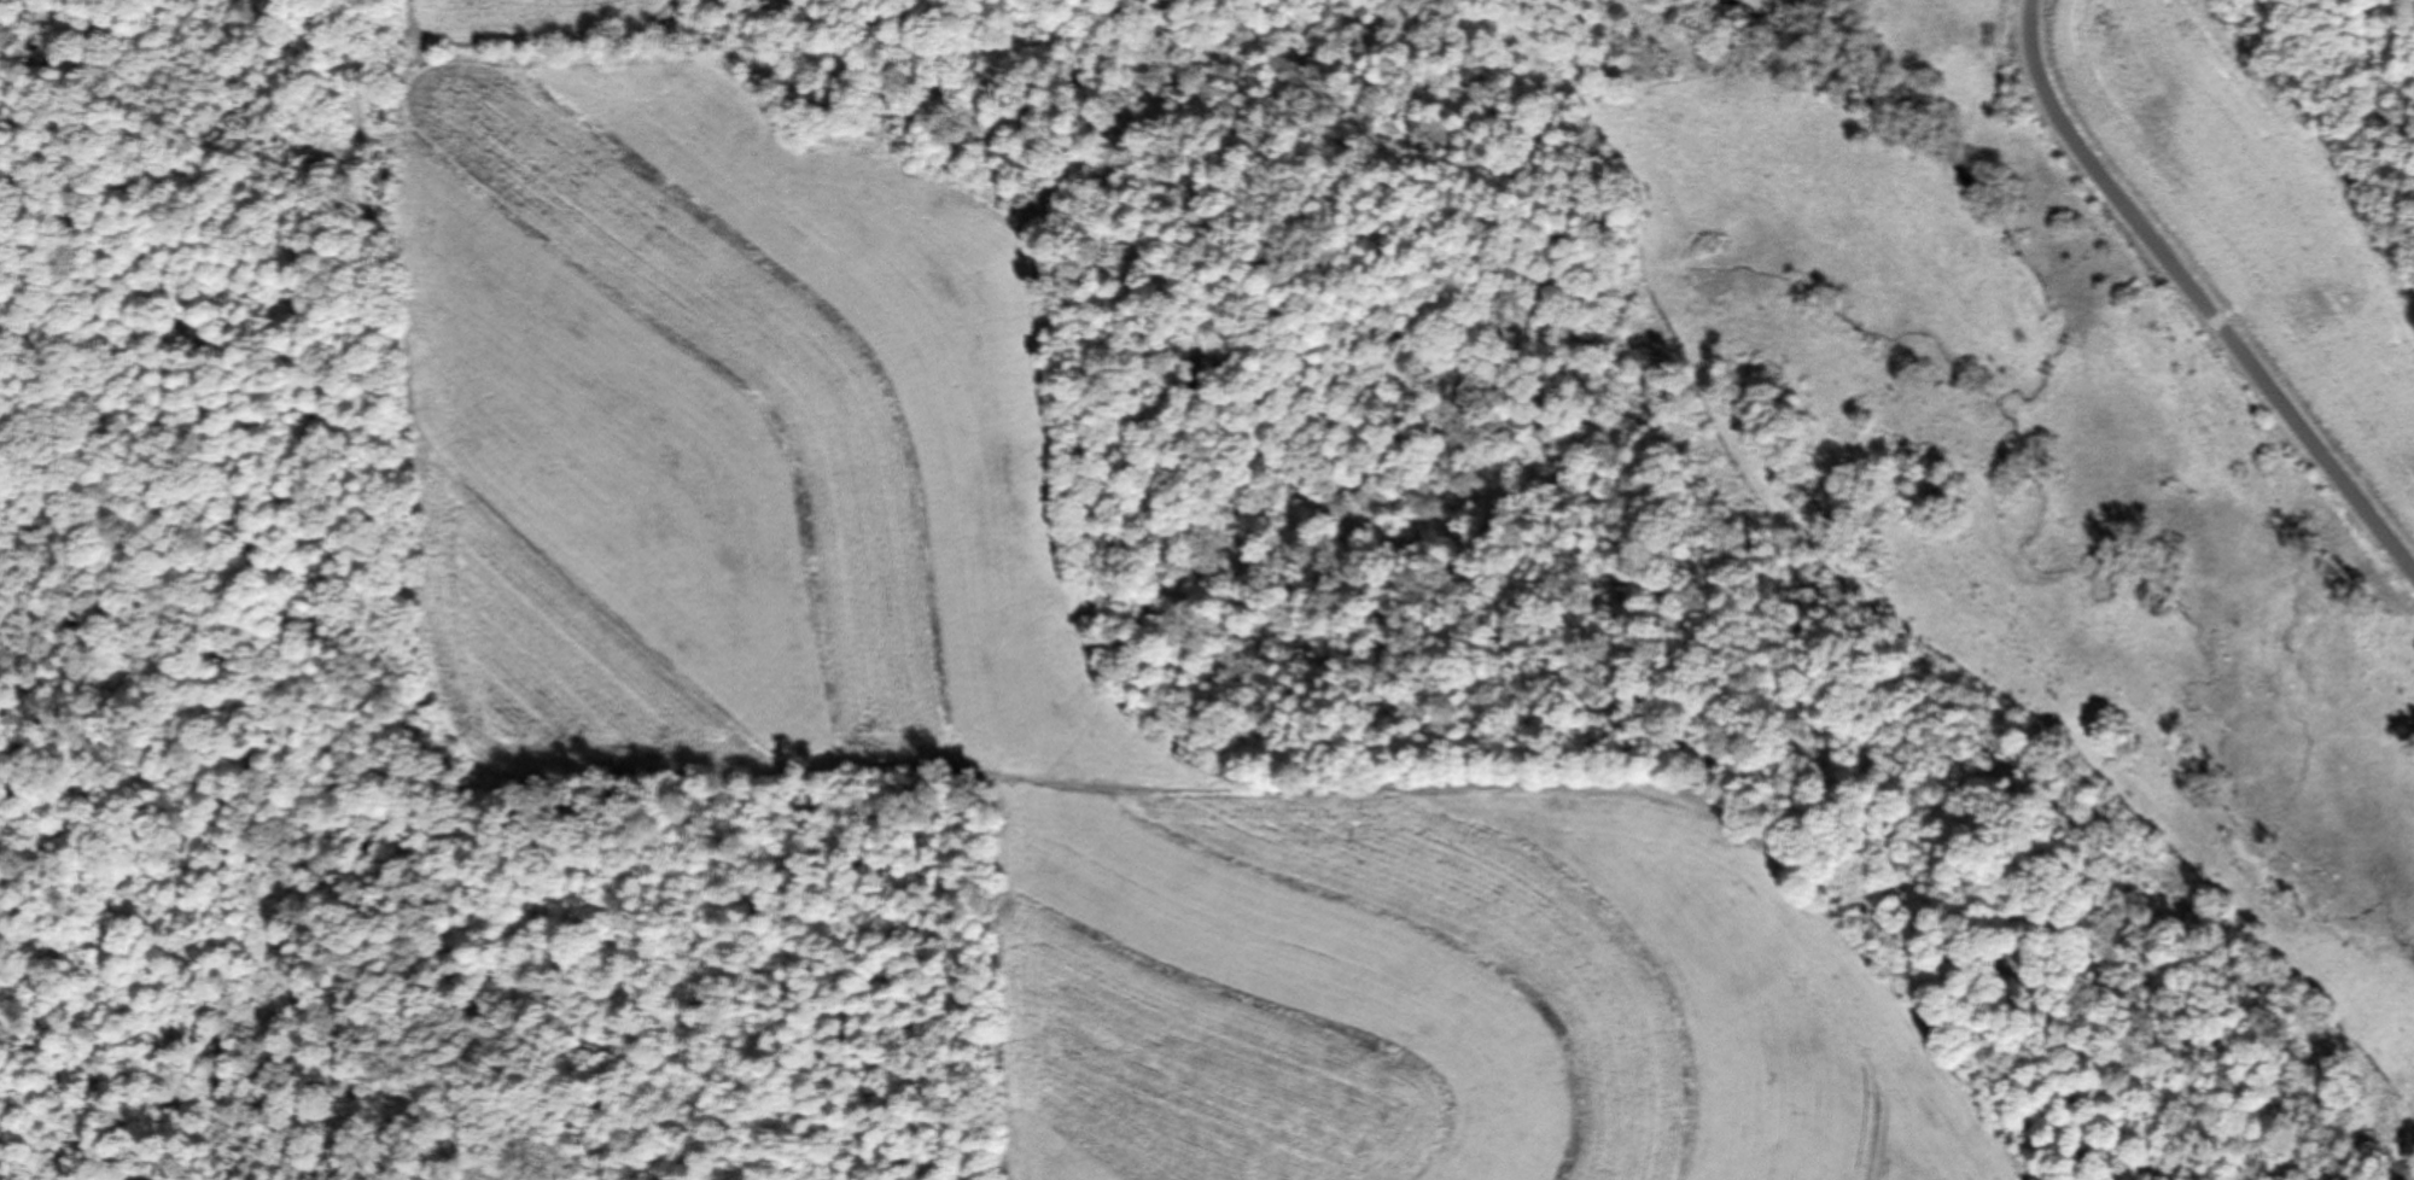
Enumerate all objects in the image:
road: (2200, 292)

